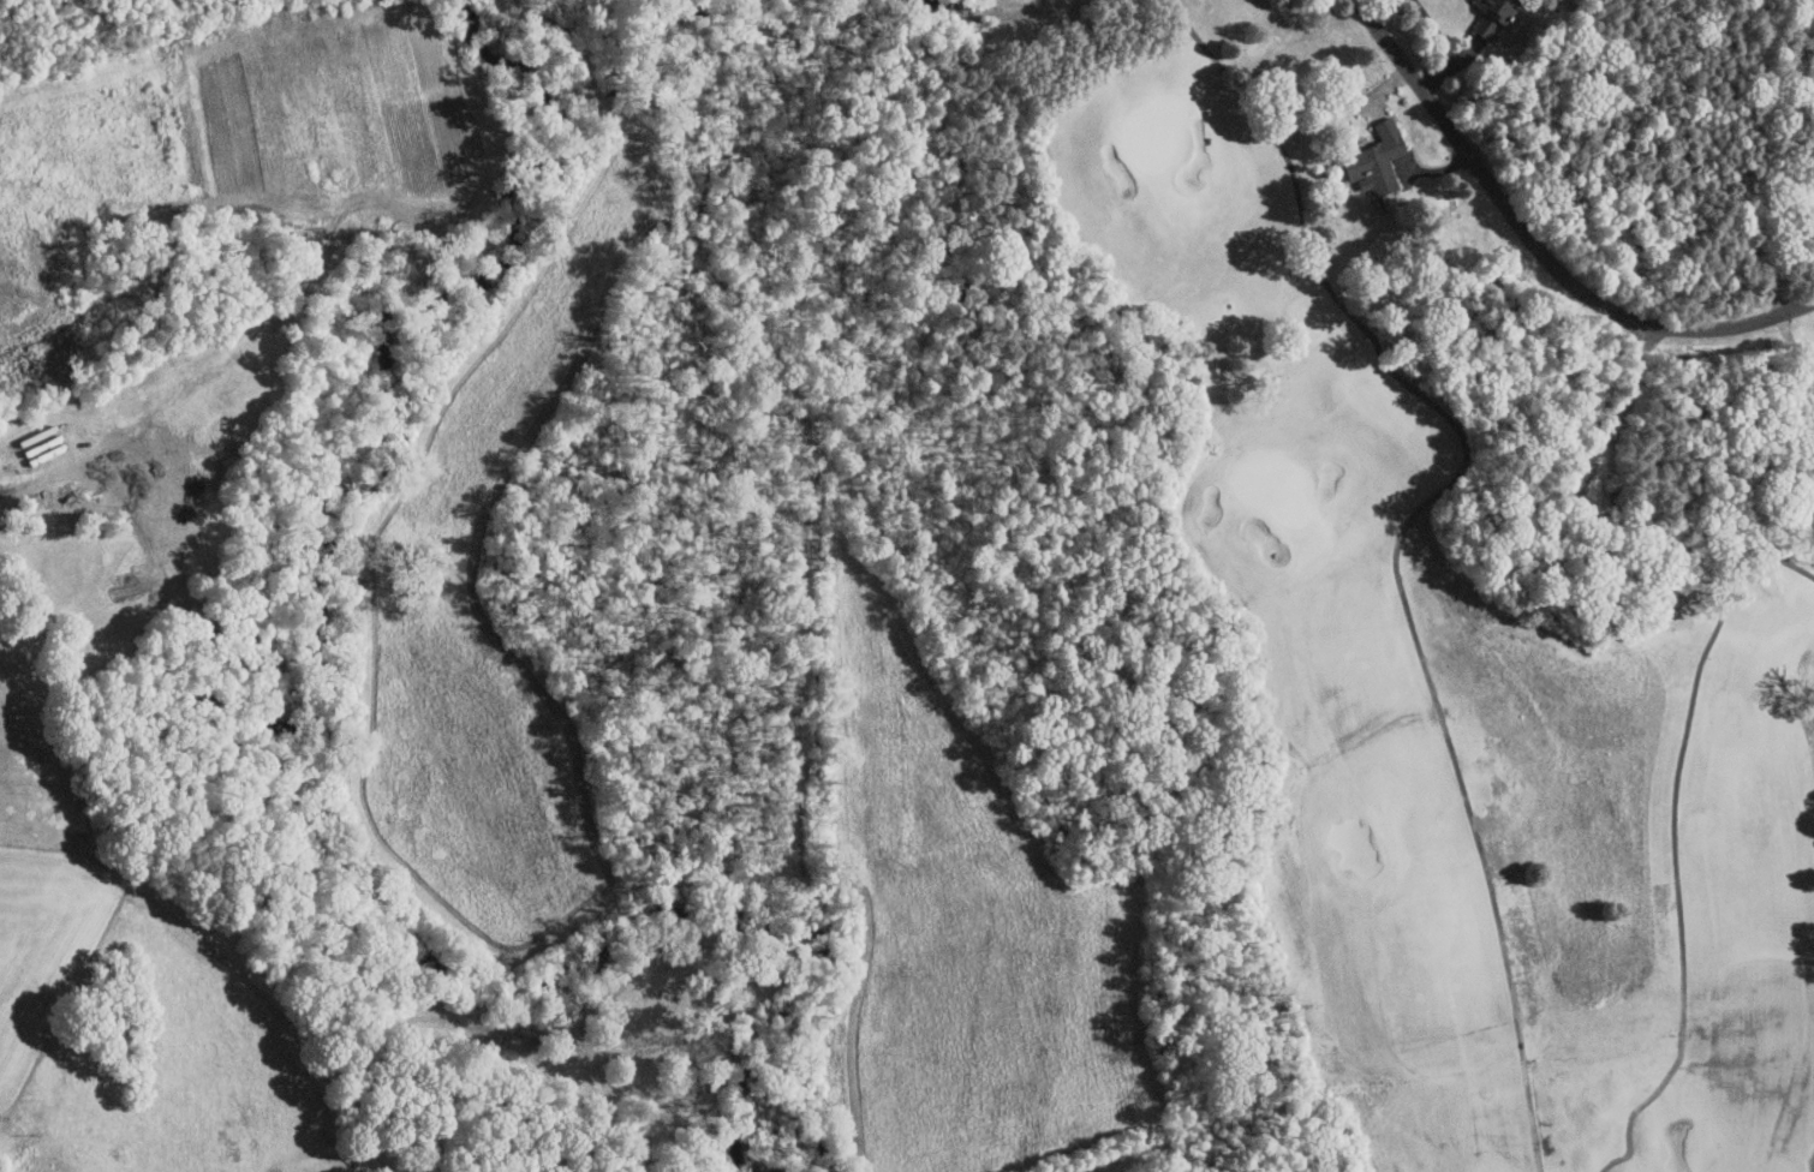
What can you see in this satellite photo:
building: (1492, 16)
building: (1371, 159)
road: (1760, 233)
road: (1538, 247)
road: (1795, 355)
road: (1615, 425)
park: (1130, 528)

